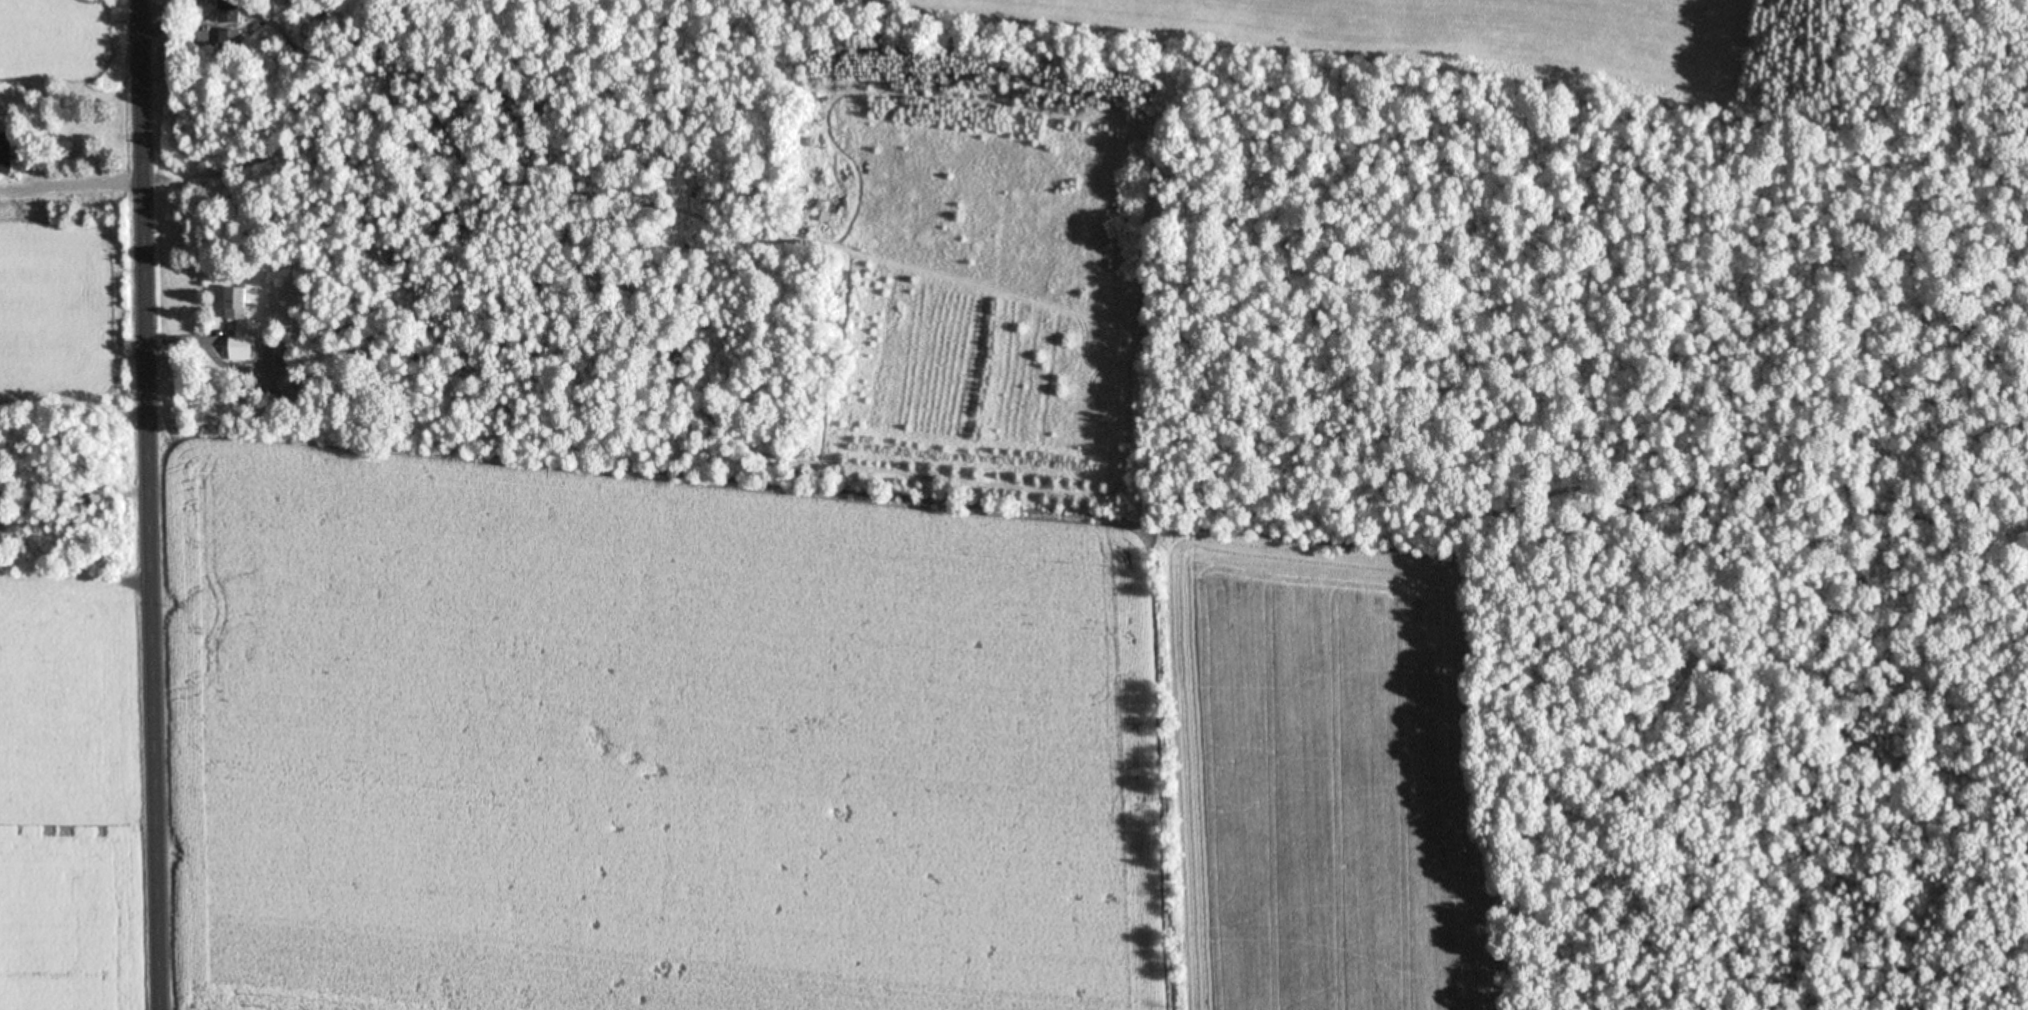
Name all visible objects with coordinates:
building: (232, 11)
building: (7, 153)
building: (240, 303)
building: (242, 349)
road: (162, 505)

